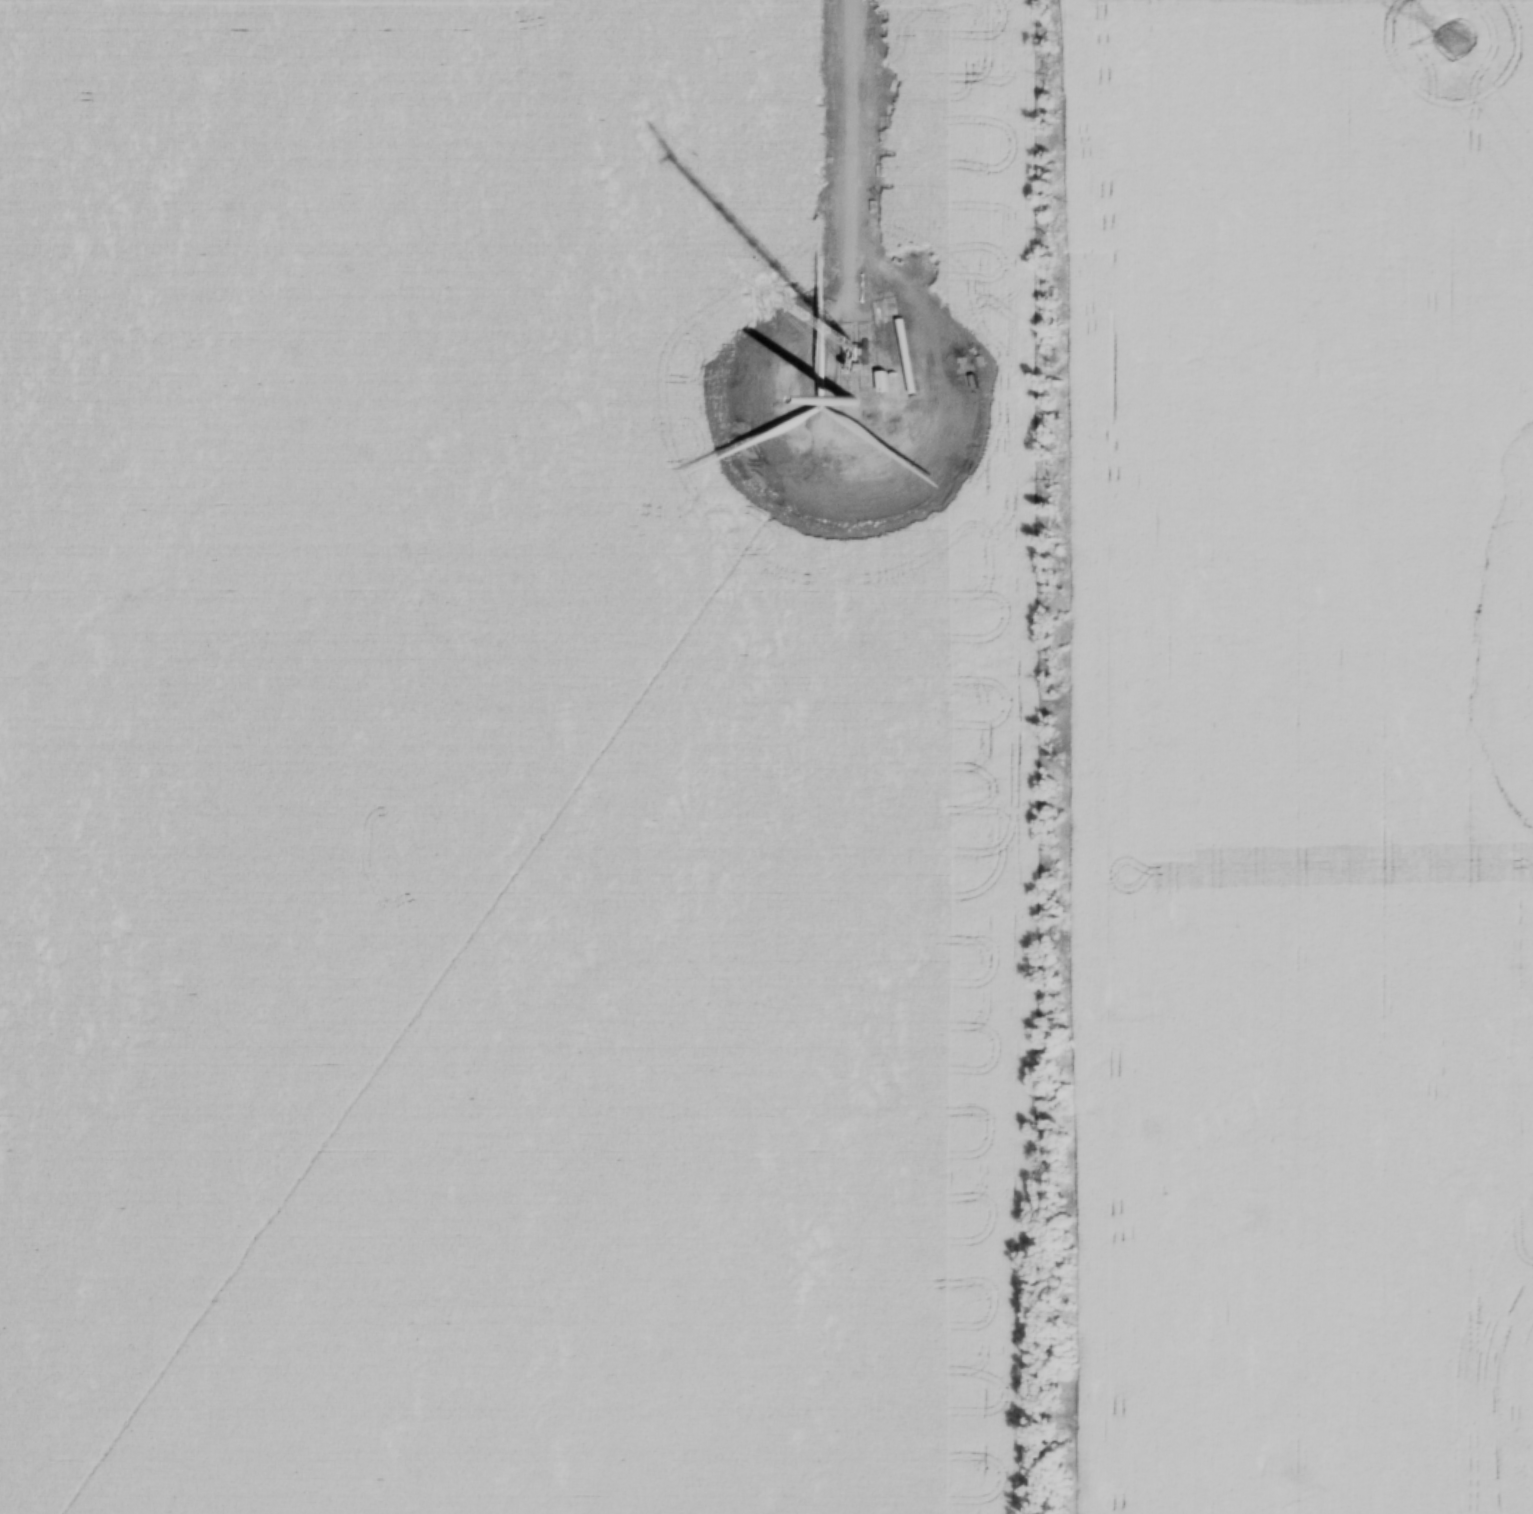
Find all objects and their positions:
power tower: (1448, 36)
wind turbine: (846, 389)

